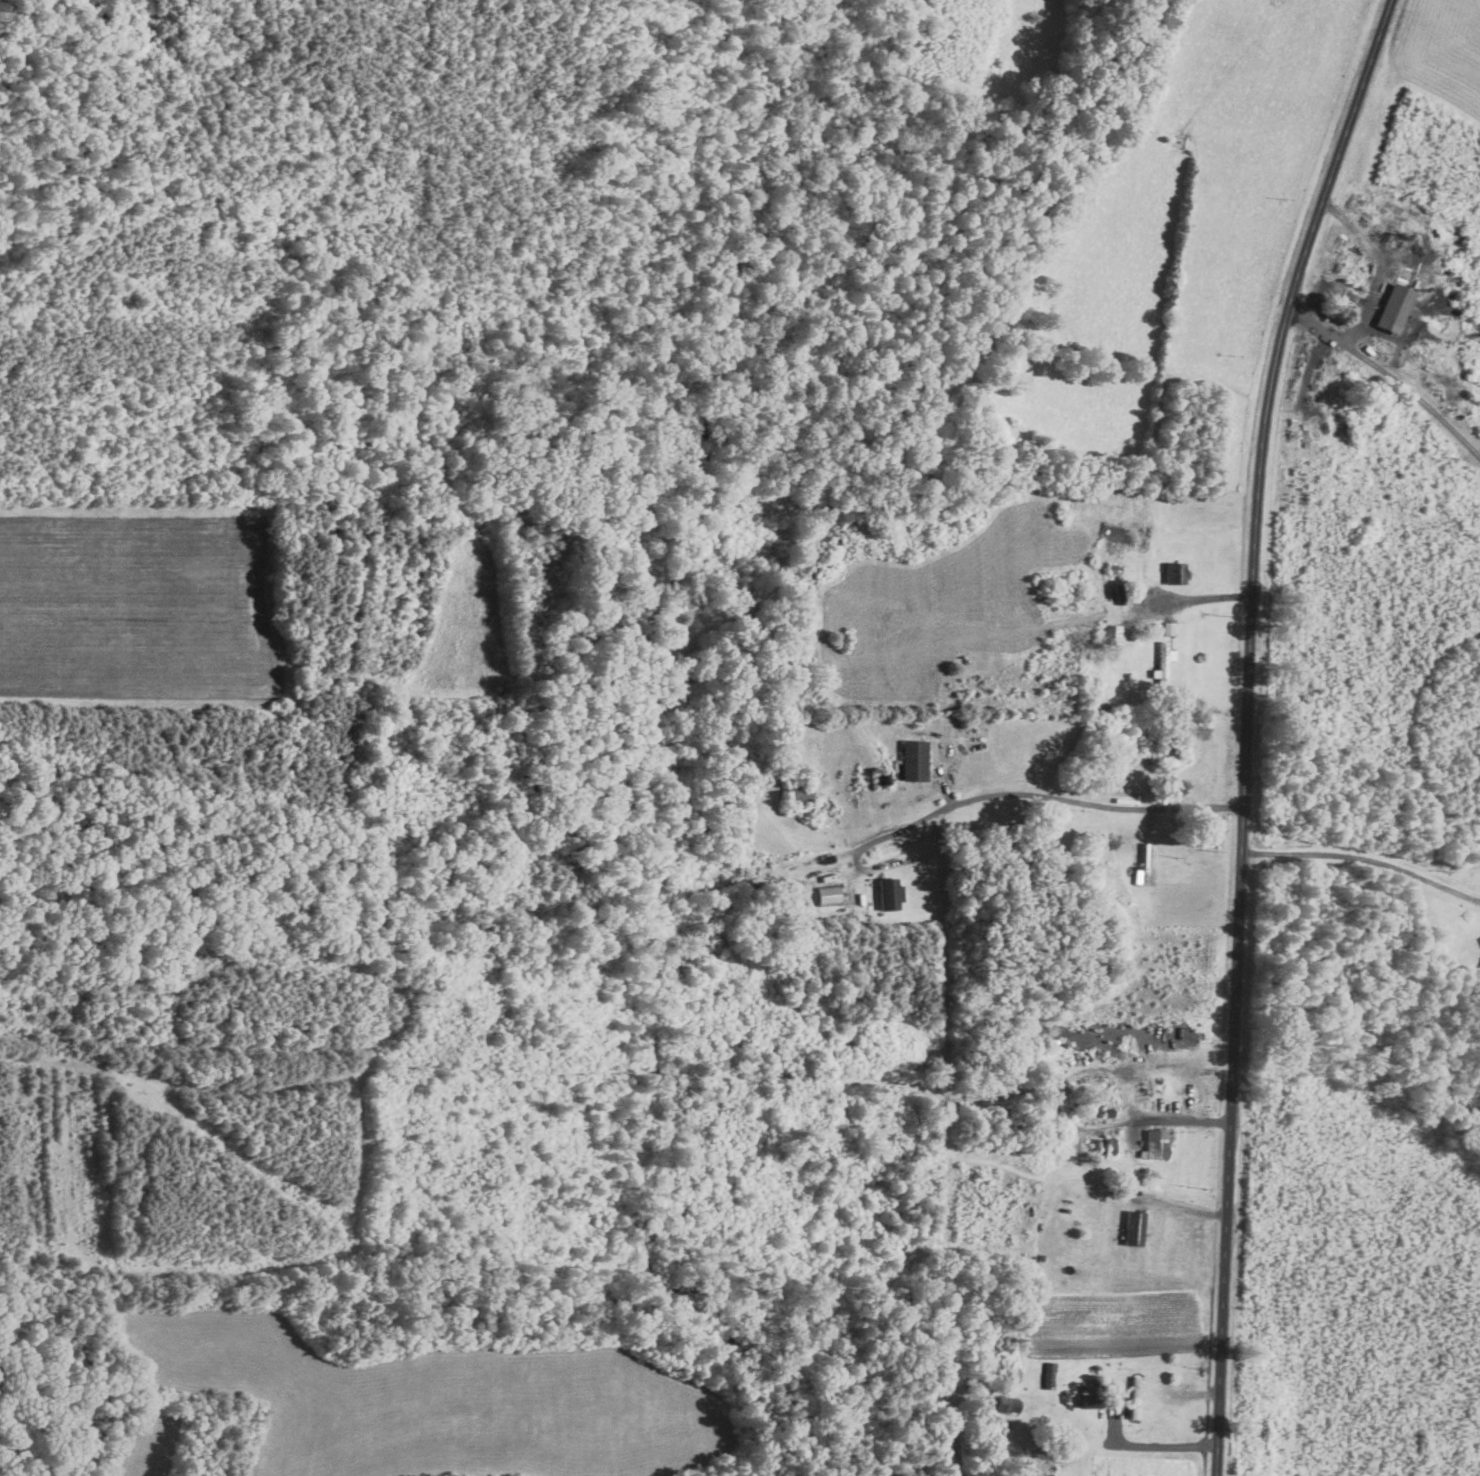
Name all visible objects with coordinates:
road: (1379, 266)
building: (1397, 308)
road: (1389, 373)
road: (1206, 598)
road: (1247, 727)
building: (915, 759)
building: (800, 792)
road: (1038, 795)
road: (1364, 859)
building: (890, 893)
building: (828, 894)
building: (1157, 1144)
building: (1135, 1227)
building: (1049, 1374)
building: (1007, 1404)
road: (1155, 1445)

